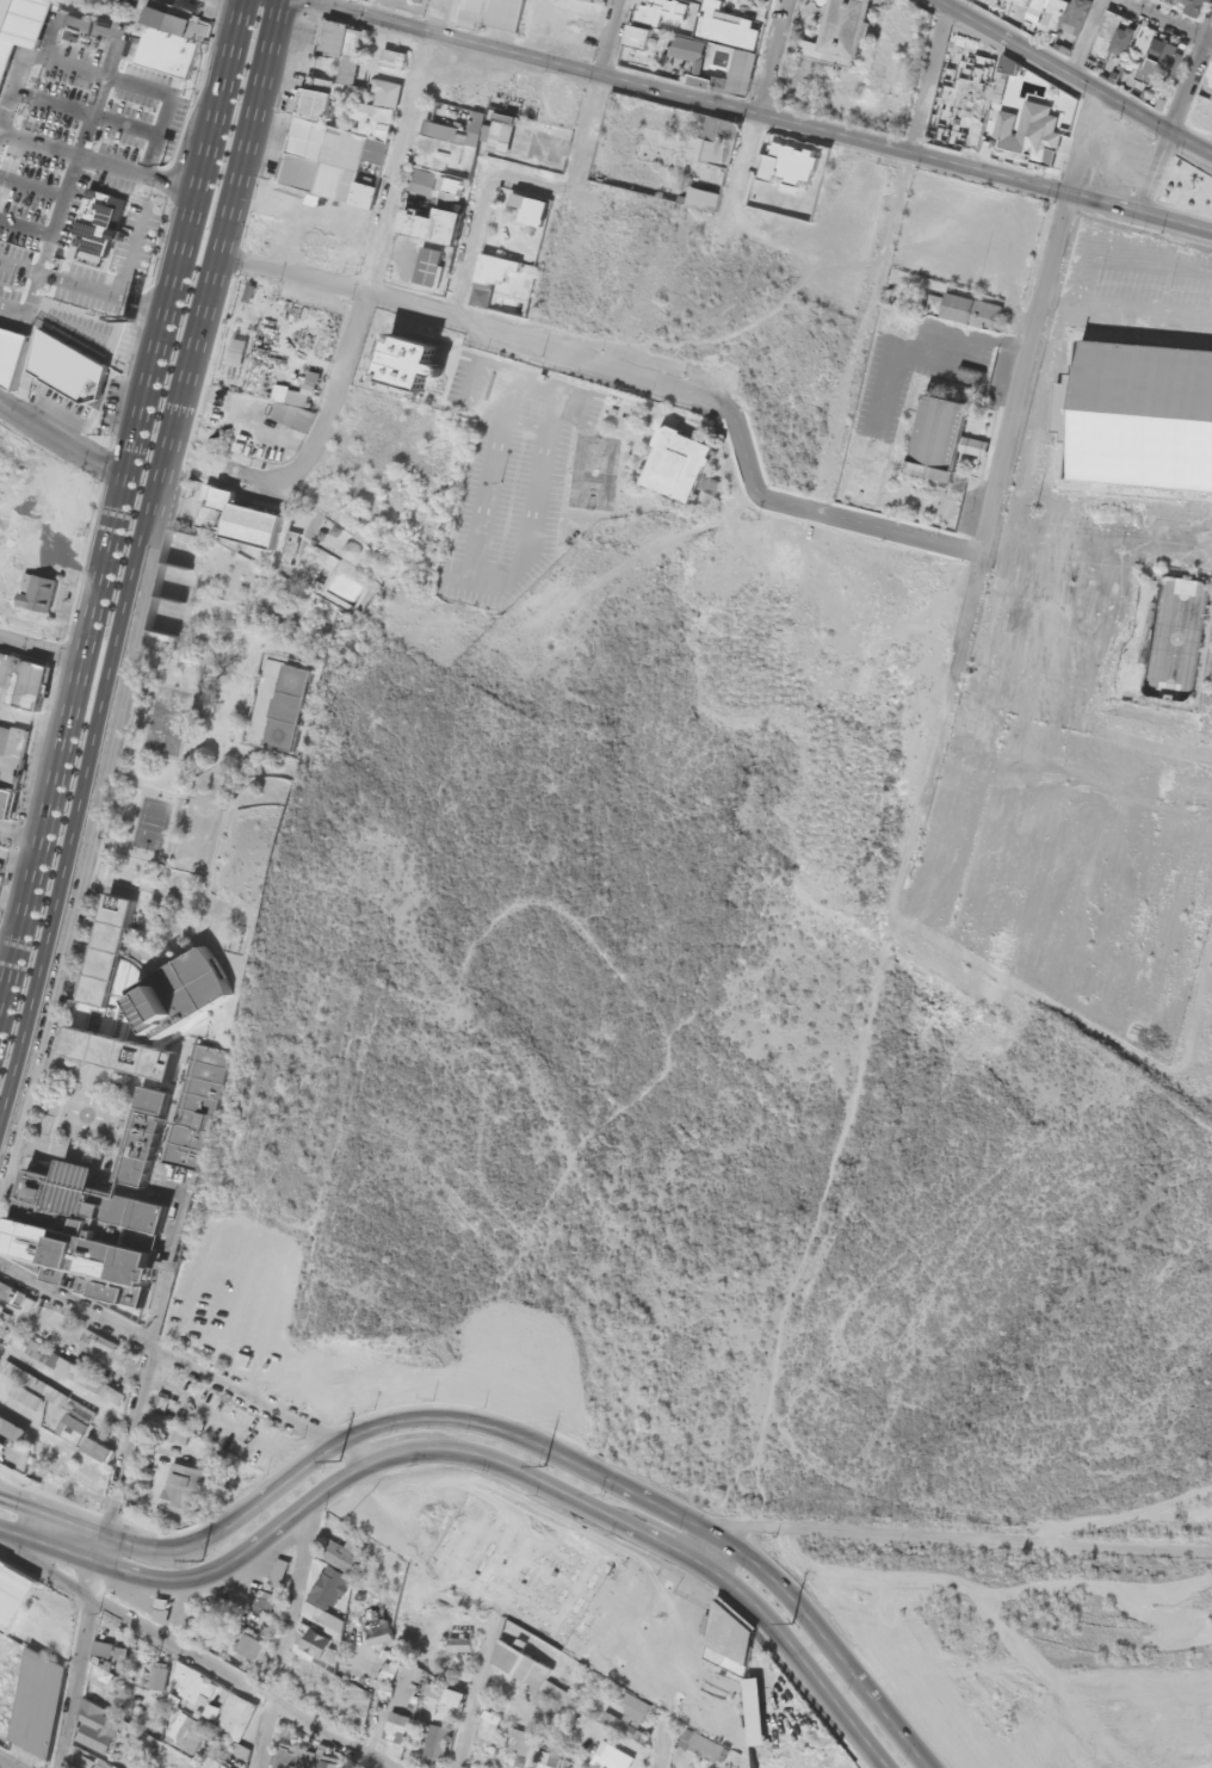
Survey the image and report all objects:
parking lot: (79, 181)

